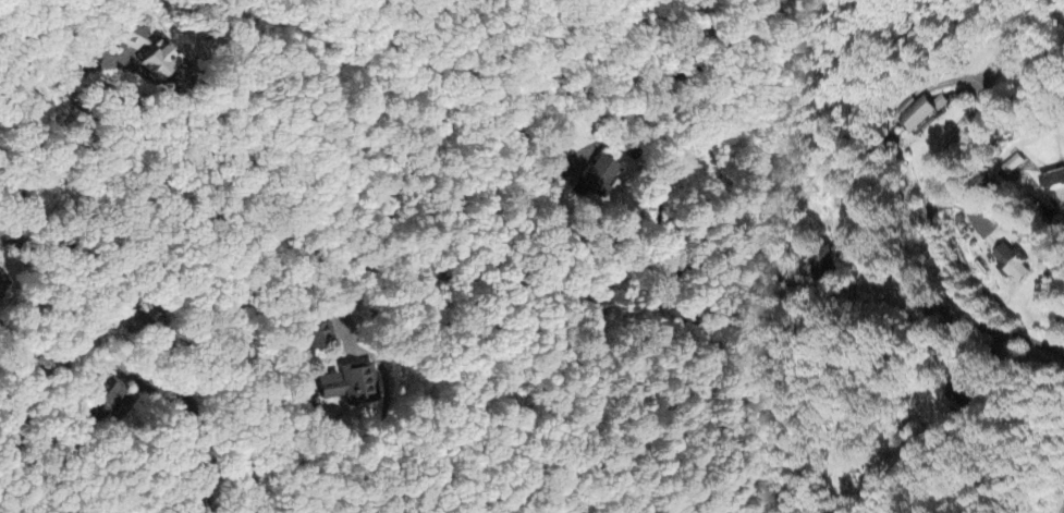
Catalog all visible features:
building: (145, 50)
road: (42, 98)
building: (935, 101)
building: (913, 114)
building: (1007, 163)
building: (1055, 178)
road: (920, 186)
road: (41, 249)
building: (1007, 261)
building: (819, 262)
building: (2, 282)
road: (712, 295)
road: (147, 315)
road: (1055, 328)
building: (323, 334)
road: (58, 372)
building: (347, 382)
building: (954, 392)
building: (100, 394)
road: (958, 405)
road: (386, 418)

